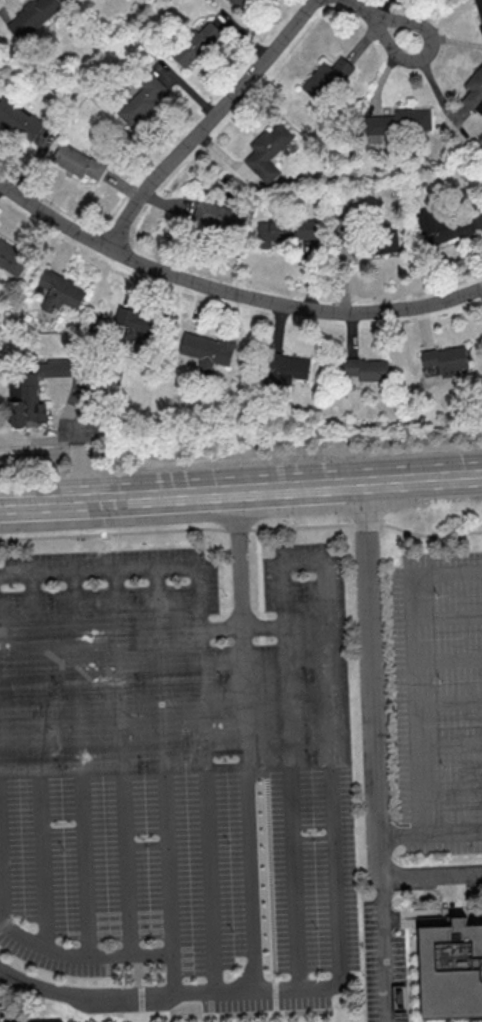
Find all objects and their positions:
building: (243, 2)
building: (479, 9)
building: (32, 16)
road: (379, 20)
building: (196, 45)
building: (326, 79)
building: (474, 91)
building: (142, 101)
building: (18, 118)
road: (209, 122)
building: (397, 123)
building: (267, 151)
building: (77, 161)
building: (219, 216)
building: (443, 225)
building: (285, 230)
building: (383, 241)
building: (12, 258)
road: (229, 288)
building: (60, 292)
building: (135, 326)
building: (207, 350)
building: (444, 360)
building: (285, 368)
building: (366, 368)
building: (35, 389)
road: (78, 432)
road: (240, 454)
road: (241, 488)
road: (241, 529)
road: (303, 563)
road: (237, 566)
road: (446, 615)
road: (243, 625)
road: (412, 643)
road: (447, 659)
road: (203, 680)
road: (371, 690)
parking lot: (438, 699)
road: (448, 700)
road: (449, 744)
road: (38, 761)
road: (123, 762)
road: (81, 763)
parking lot: (177, 774)
road: (165, 780)
road: (450, 783)
road: (420, 808)
road: (247, 817)
road: (451, 831)
road: (399, 832)
road: (2, 860)
road: (430, 875)
road: (81, 956)
road: (382, 960)
parking lot: (380, 962)
building: (447, 970)
road: (165, 994)

